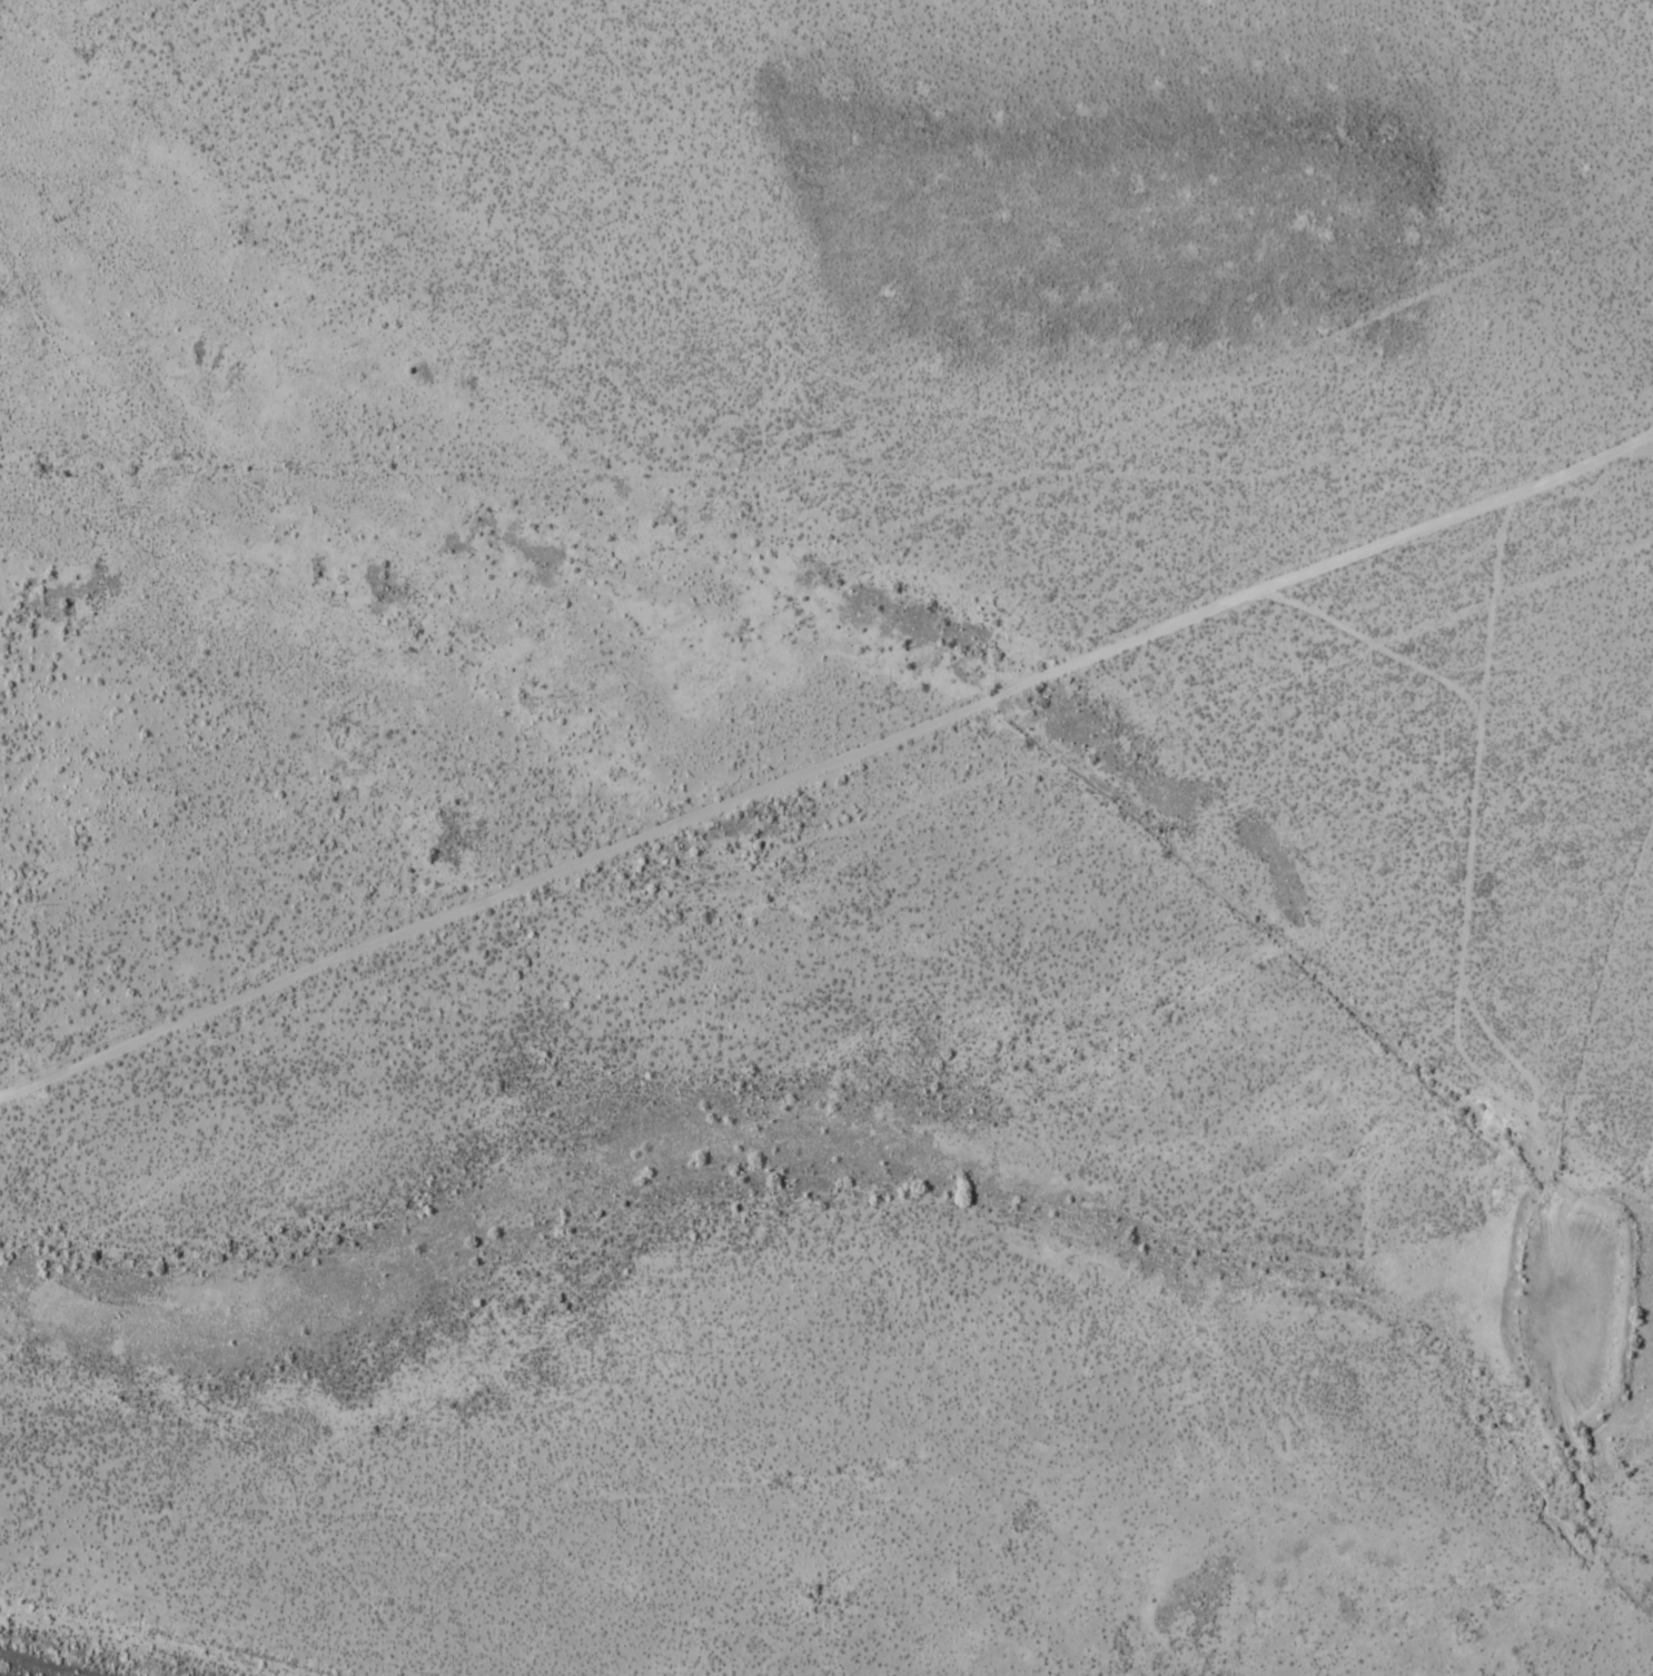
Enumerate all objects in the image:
road: (1633, 440)
road: (826, 755)

